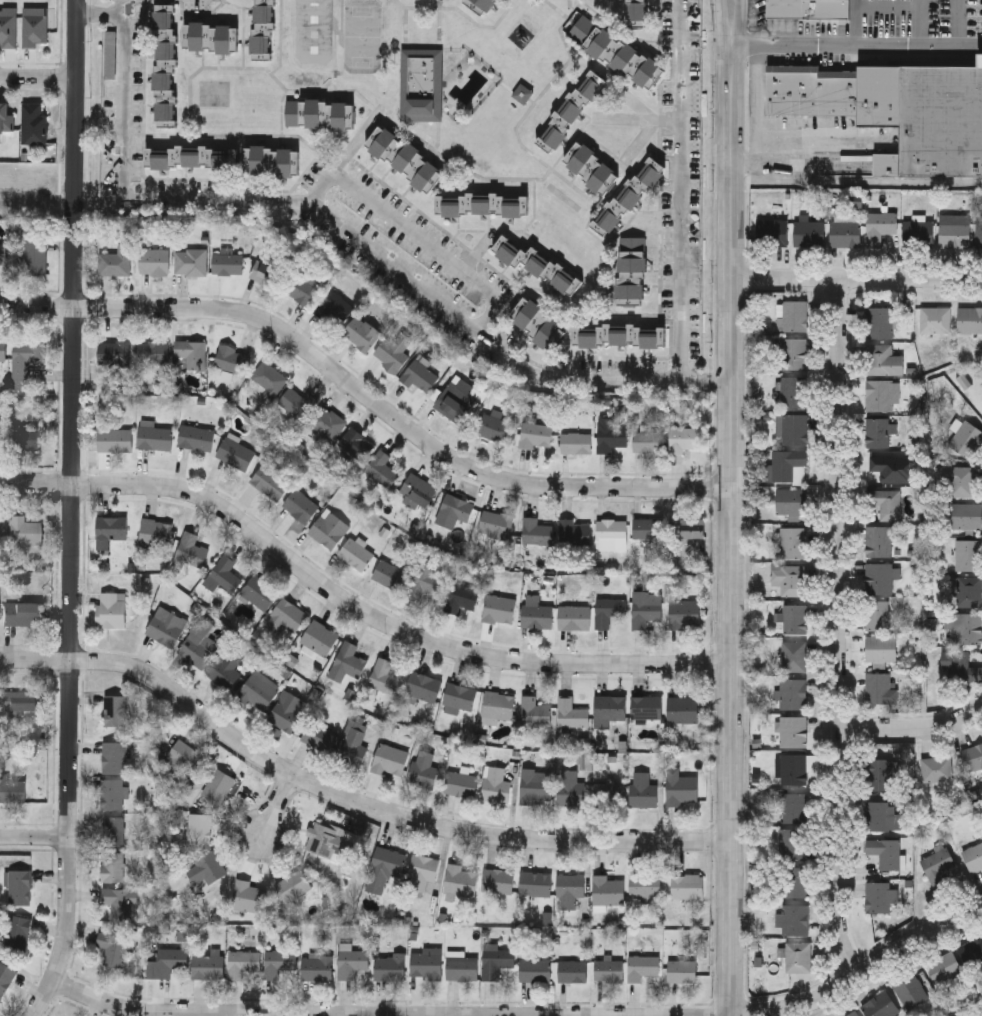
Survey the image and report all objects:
building: (485, 4)
road: (887, 7)
building: (808, 8)
building: (638, 11)
road: (102, 16)
parking lot: (887, 18)
parking lot: (953, 19)
building: (35, 24)
building: (8, 25)
road: (738, 25)
road: (857, 25)
road: (917, 25)
road: (960, 25)
road: (719, 26)
building: (263, 28)
building: (211, 36)
road: (856, 49)
building: (616, 50)
building: (165, 65)
road: (39, 77)
building: (421, 83)
building: (523, 91)
building: (836, 91)
road: (635, 103)
building: (571, 109)
building: (317, 112)
building: (6, 119)
road: (637, 119)
building: (938, 122)
building: (34, 124)
road: (641, 139)
building: (191, 156)
building: (405, 156)
building: (272, 159)
building: (591, 166)
road: (679, 190)
building: (629, 194)
building: (482, 203)
road: (323, 213)
building: (881, 228)
building: (771, 230)
building: (978, 230)
building: (808, 231)
building: (845, 231)
building: (917, 231)
building: (954, 231)
road: (419, 234)
road: (478, 251)
building: (3, 256)
building: (34, 257)
building: (116, 261)
building: (155, 261)
building: (191, 261)
building: (228, 263)
building: (537, 263)
building: (632, 269)
building: (267, 273)
road: (858, 277)
building: (301, 288)
building: (334, 306)
building: (793, 313)
building: (934, 318)
building: (969, 318)
building: (879, 320)
building: (539, 322)
building: (361, 333)
building: (622, 334)
building: (154, 351)
building: (393, 351)
building: (3, 352)
building: (114, 352)
building: (192, 352)
building: (793, 352)
building: (883, 358)
building: (25, 359)
building: (232, 359)
building: (421, 374)
building: (268, 378)
road: (707, 381)
building: (792, 390)
road: (366, 393)
building: (881, 393)
building: (457, 398)
building: (297, 402)
building: (326, 422)
building: (493, 425)
building: (790, 427)
building: (875, 431)
building: (536, 435)
building: (964, 435)
building: (154, 436)
building: (0, 437)
building: (196, 437)
building: (611, 437)
building: (115, 439)
building: (682, 439)
building: (23, 441)
building: (649, 441)
building: (356, 443)
building: (576, 443)
building: (237, 453)
building: (788, 465)
building: (381, 467)
building: (878, 467)
building: (958, 478)
building: (270, 482)
building: (419, 488)
building: (790, 499)
building: (884, 500)
building: (300, 505)
building: (457, 507)
road: (73, 511)
building: (965, 514)
building: (496, 523)
building: (111, 527)
building: (649, 527)
building: (1, 528)
building: (329, 528)
building: (691, 528)
building: (613, 530)
building: (537, 531)
building: (575, 531)
building: (23, 532)
road: (732, 532)
building: (156, 533)
building: (877, 539)
building: (791, 540)
building: (191, 550)
building: (356, 553)
building: (967, 553)
building: (224, 574)
building: (390, 575)
building: (878, 576)
building: (788, 577)
building: (425, 581)
building: (969, 590)
building: (259, 592)
building: (462, 597)
road: (352, 603)
building: (111, 608)
building: (499, 608)
building: (609, 609)
building: (646, 609)
building: (685, 613)
building: (876, 613)
building: (19, 615)
building: (285, 615)
building: (537, 615)
building: (574, 616)
building: (792, 616)
road: (841, 624)
building: (166, 625)
building: (967, 626)
building: (320, 637)
building: (198, 642)
building: (881, 647)
building: (792, 653)
building: (352, 658)
building: (954, 663)
building: (227, 667)
building: (384, 676)
building: (423, 685)
building: (876, 685)
building: (259, 689)
building: (791, 691)
building: (460, 695)
building: (17, 702)
building: (497, 705)
building: (646, 705)
building: (682, 708)
building: (116, 709)
building: (610, 709)
building: (287, 710)
building: (535, 710)
building: (571, 713)
road: (914, 727)
building: (792, 728)
building: (318, 734)
building: (353, 744)
building: (185, 754)
building: (971, 754)
building: (114, 755)
building: (390, 758)
building: (792, 766)
building: (934, 766)
building: (423, 768)
building: (878, 771)
building: (461, 783)
building: (218, 784)
building: (496, 784)
building: (536, 785)
building: (570, 787)
building: (682, 788)
building: (643, 789)
building: (12, 791)
building: (112, 792)
building: (610, 793)
road: (348, 797)
road: (280, 804)
building: (793, 805)
building: (879, 813)
building: (199, 828)
building: (113, 829)
road: (35, 837)
building: (330, 841)
building: (790, 841)
building: (883, 849)
building: (973, 854)
building: (936, 864)
building: (113, 865)
building: (206, 867)
building: (385, 868)
building: (422, 871)
building: (498, 879)
building: (461, 880)
building: (792, 880)
building: (536, 882)
building: (293, 885)
building: (687, 885)
building: (645, 886)
building: (19, 888)
building: (569, 888)
building: (607, 890)
building: (876, 894)
building: (249, 895)
building: (117, 901)
building: (794, 917)
building: (17, 934)
building: (112, 948)
building: (971, 949)
building: (795, 954)
building: (170, 960)
building: (496, 961)
building: (242, 962)
building: (279, 962)
building: (351, 962)
building: (427, 962)
building: (942, 965)
building: (207, 966)
building: (390, 966)
building: (462, 966)
building: (642, 966)
building: (317, 967)
building: (535, 969)
building: (609, 969)
road: (861, 969)
building: (573, 970)
building: (683, 970)
building: (5, 979)
building: (908, 989)
building: (880, 1005)
building: (852, 1013)
road: (390, 1014)

